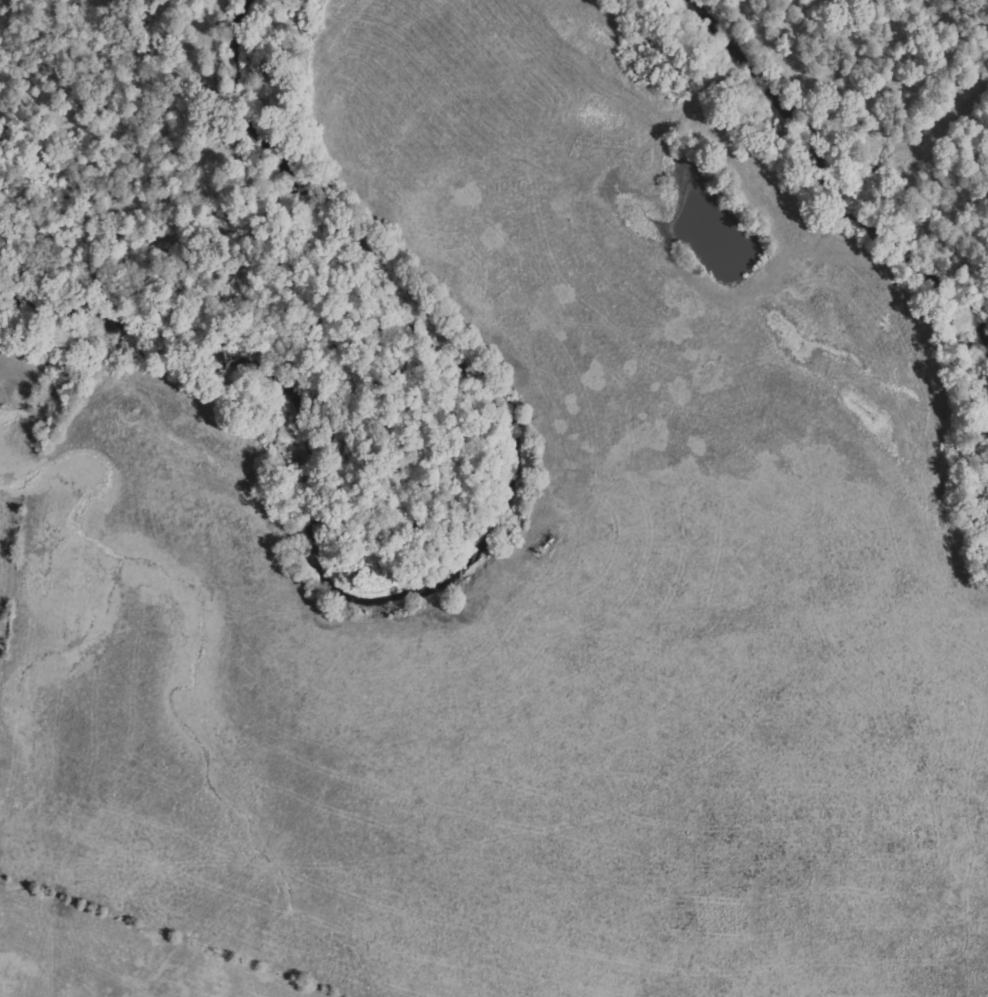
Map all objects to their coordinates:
river: (811, 177)
river: (467, 556)

